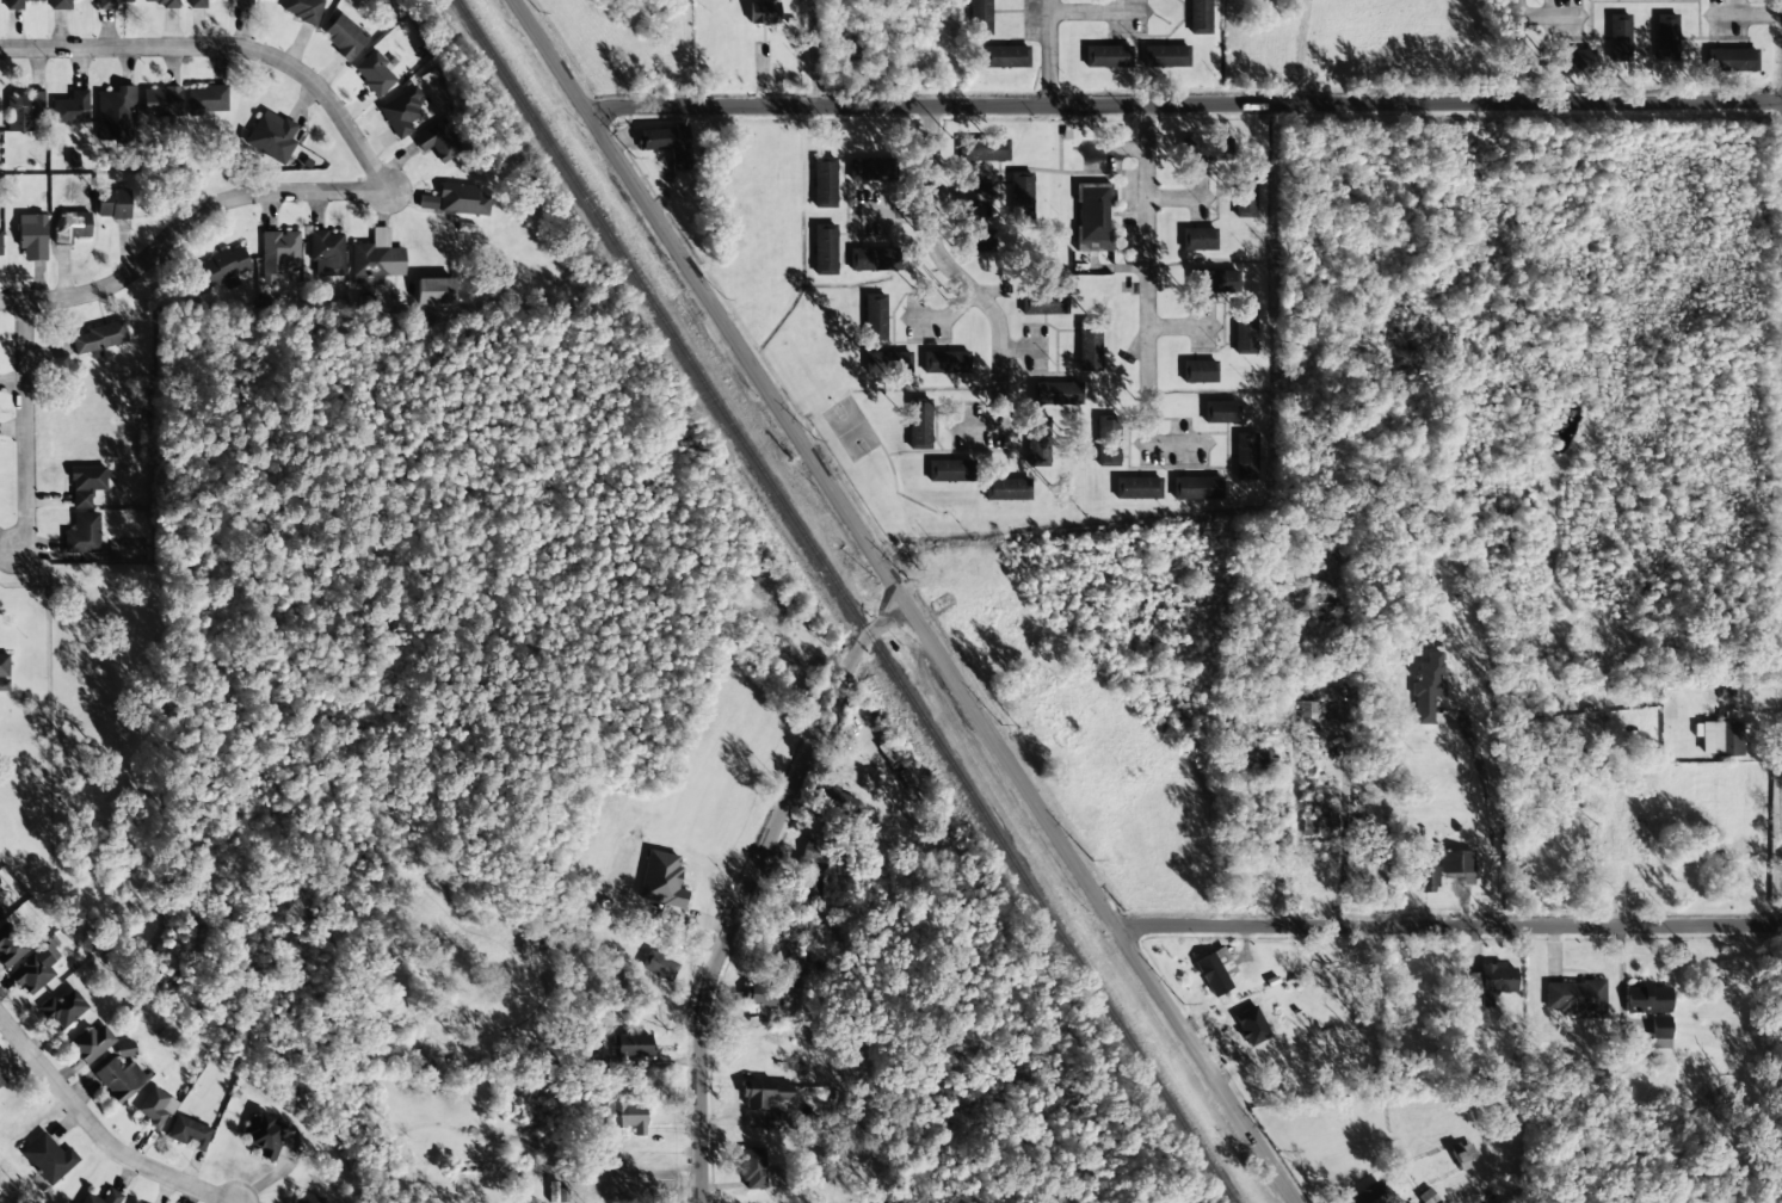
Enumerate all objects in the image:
building: (243, 2)
building: (16, 4)
building: (60, 4)
building: (111, 4)
building: (165, 4)
building: (197, 4)
building: (302, 10)
building: (763, 12)
building: (980, 17)
building: (1200, 17)
building: (344, 36)
building: (1618, 37)
building: (1665, 37)
road: (227, 48)
building: (851, 48)
road: (812, 53)
road: (1056, 53)
road: (550, 54)
building: (1106, 56)
building: (1165, 56)
building: (1005, 57)
building: (1570, 60)
building: (1732, 60)
building: (375, 73)
building: (206, 100)
building: (161, 101)
road: (1183, 104)
building: (72, 109)
building: (23, 110)
building: (401, 111)
building: (115, 115)
building: (272, 136)
building: (438, 141)
building: (667, 144)
building: (1206, 149)
building: (982, 150)
building: (867, 169)
building: (824, 183)
building: (1245, 196)
building: (461, 199)
building: (112, 203)
building: (1092, 217)
road: (187, 226)
building: (72, 227)
building: (32, 236)
building: (1197, 239)
building: (974, 240)
building: (0, 243)
building: (824, 249)
building: (327, 252)
building: (278, 253)
building: (376, 259)
building: (872, 259)
road: (1148, 259)
building: (224, 266)
road: (950, 267)
building: (1214, 282)
building: (434, 290)
building: (1043, 303)
building: (874, 316)
building: (1245, 329)
building: (100, 337)
building: (1089, 345)
building: (894, 362)
building: (943, 362)
building: (1198, 371)
building: (1052, 393)
building: (1220, 412)
building: (918, 422)
road: (27, 426)
building: (1108, 440)
building: (1036, 443)
building: (1246, 456)
building: (949, 471)
building: (86, 485)
building: (1136, 488)
building: (1197, 488)
building: (1006, 489)
building: (82, 535)
railway: (846, 600)
road: (941, 654)
building: (4, 671)
building: (1428, 686)
building: (1307, 710)
building: (1721, 738)
building: (845, 801)
building: (1321, 820)
building: (814, 852)
building: (1442, 868)
building: (661, 880)
road: (753, 884)
building: (812, 894)
building: (0, 918)
road: (1450, 925)
building: (10, 948)
building: (659, 966)
building: (35, 970)
building: (1215, 970)
building: (1492, 981)
building: (765, 994)
building: (1577, 998)
building: (1647, 999)
building: (63, 1008)
building: (1659, 1032)
building: (93, 1043)
building: (633, 1044)
building: (125, 1049)
building: (1, 1079)
building: (119, 1079)
building: (764, 1093)
building: (155, 1108)
building: (625, 1117)
road: (98, 1130)
building: (189, 1133)
building: (263, 1135)
building: (49, 1158)
building: (751, 1165)
building: (556, 1192)
building: (112, 1197)
building: (131, 1202)

